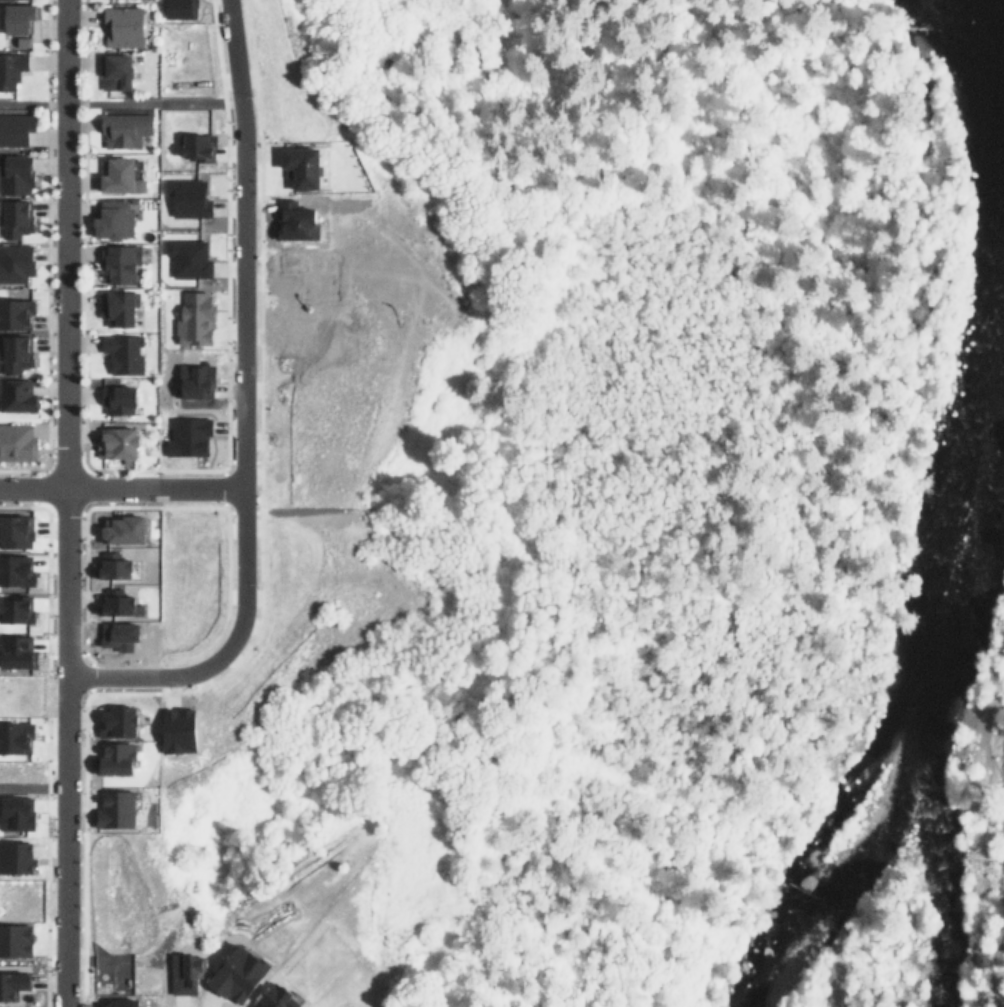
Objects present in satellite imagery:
building: (179, 6)
building: (18, 19)
building: (122, 27)
building: (20, 45)
road: (213, 52)
building: (116, 70)
building: (10, 71)
road: (110, 102)
building: (13, 131)
building: (123, 133)
building: (198, 145)
building: (304, 165)
building: (16, 175)
building: (120, 176)
building: (189, 197)
building: (14, 219)
building: (112, 219)
building: (293, 222)
road: (44, 225)
road: (81, 225)
road: (258, 230)
building: (189, 258)
building: (15, 263)
building: (120, 264)
building: (310, 271)
road: (223, 282)
building: (117, 306)
building: (14, 311)
building: (195, 319)
building: (14, 352)
building: (122, 353)
building: (199, 380)
building: (16, 397)
building: (119, 399)
road: (239, 409)
building: (189, 437)
building: (119, 442)
building: (16, 443)
road: (108, 469)
road: (29, 488)
road: (105, 488)
road: (119, 488)
road: (220, 488)
road: (67, 503)
road: (117, 507)
road: (248, 512)
river: (964, 528)
building: (124, 529)
building: (17, 530)
road: (80, 566)
building: (15, 567)
building: (114, 567)
road: (43, 594)
building: (118, 604)
building: (16, 608)
road: (252, 633)
building: (122, 634)
building: (18, 652)
road: (194, 652)
road: (63, 655)
building: (119, 719)
building: (181, 729)
building: (15, 739)
road: (43, 752)
building: (117, 757)
road: (21, 787)
building: (116, 809)
building: (16, 815)
road: (80, 831)
road: (43, 834)
building: (17, 857)
building: (16, 941)
road: (998, 953)
road: (43, 965)
building: (242, 972)
building: (189, 973)
building: (13, 982)
building: (280, 991)
building: (126, 1003)

